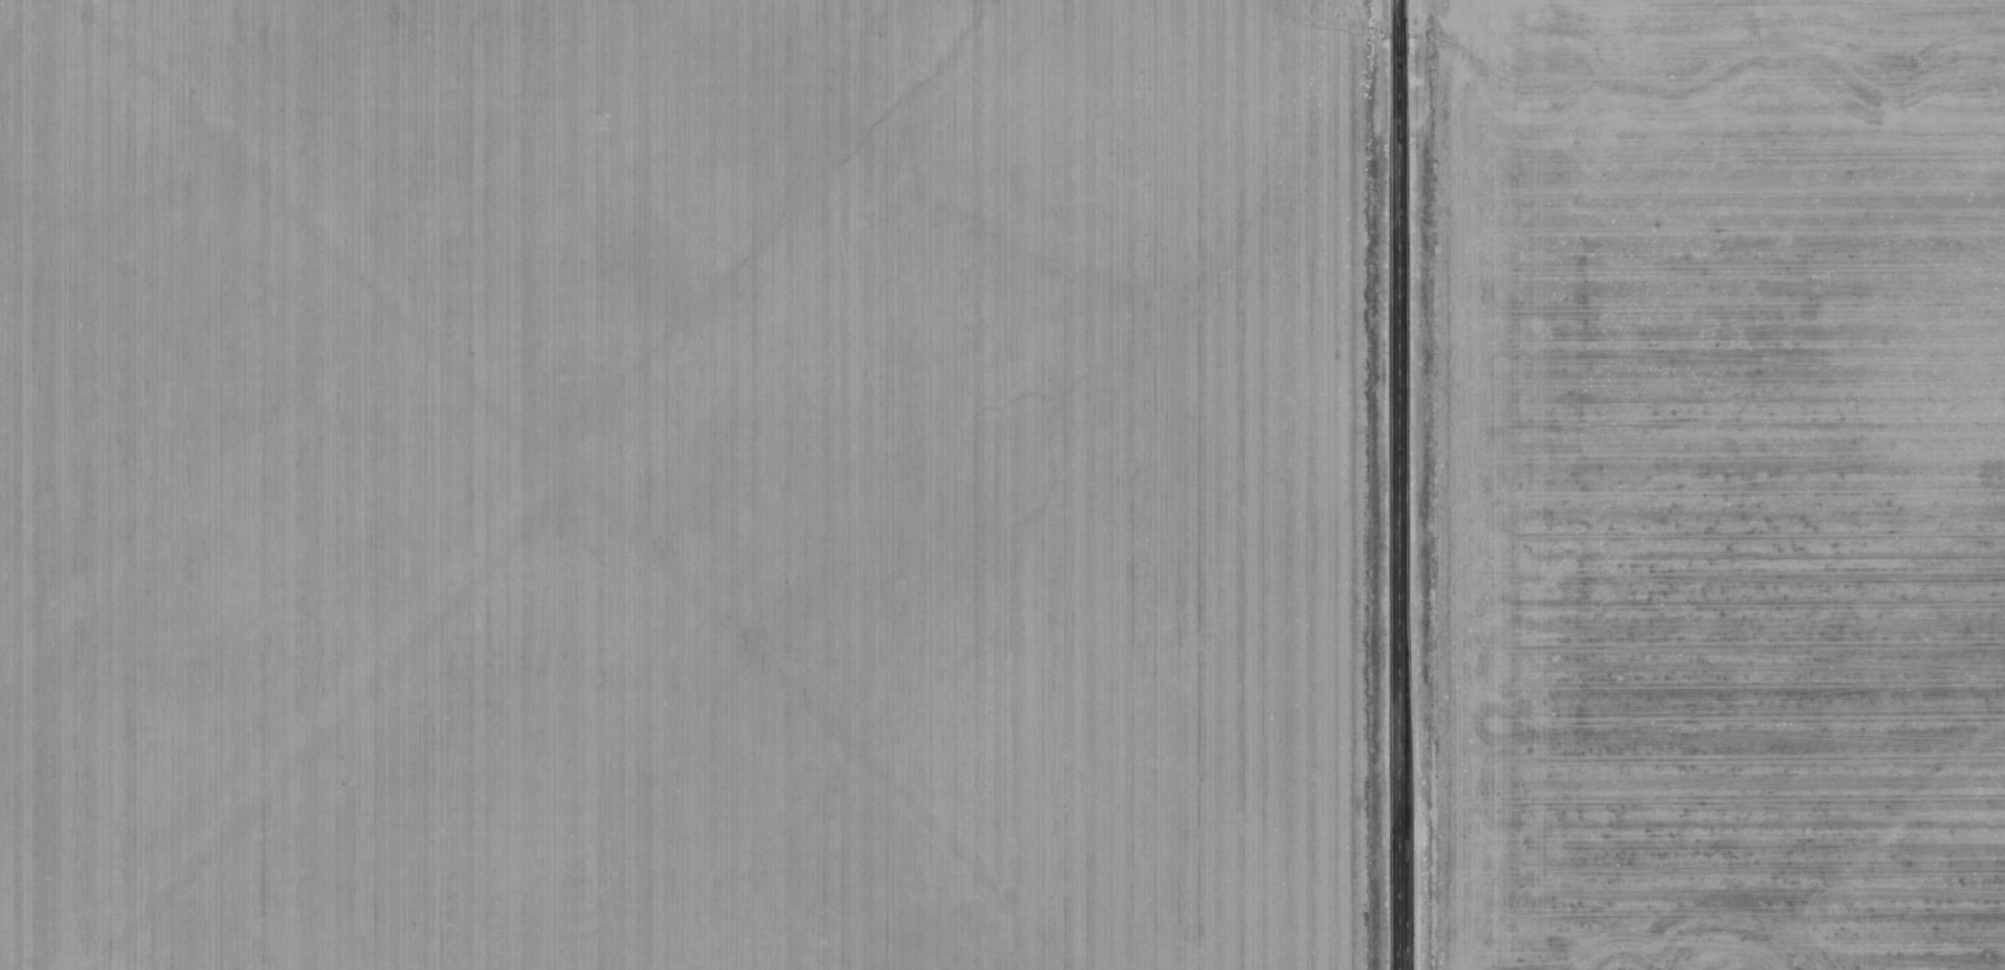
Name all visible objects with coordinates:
road: (1404, 485)

